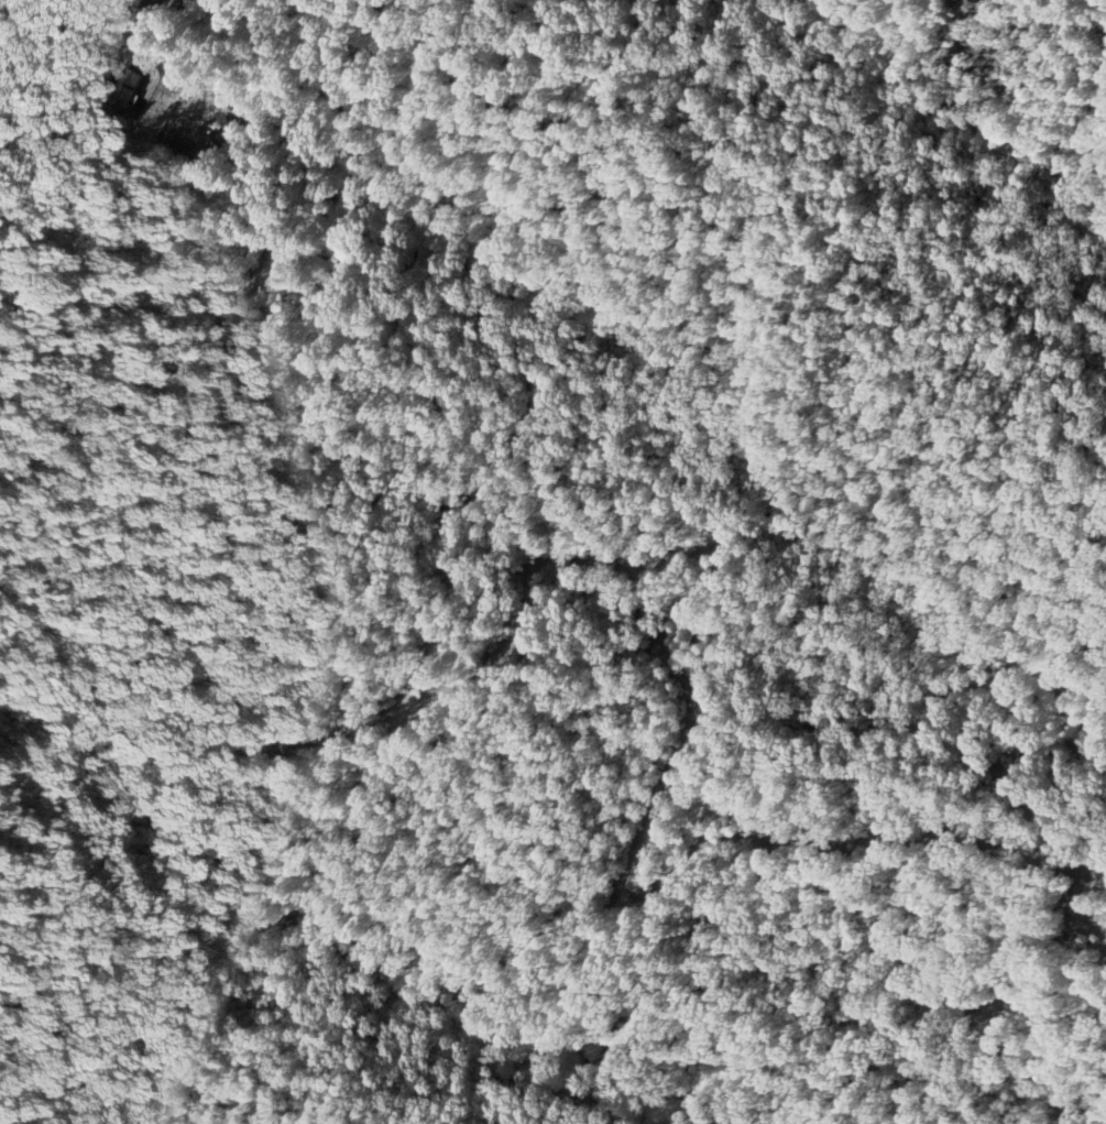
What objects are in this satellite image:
building: (979, 2)
road: (143, 30)
building: (120, 100)

